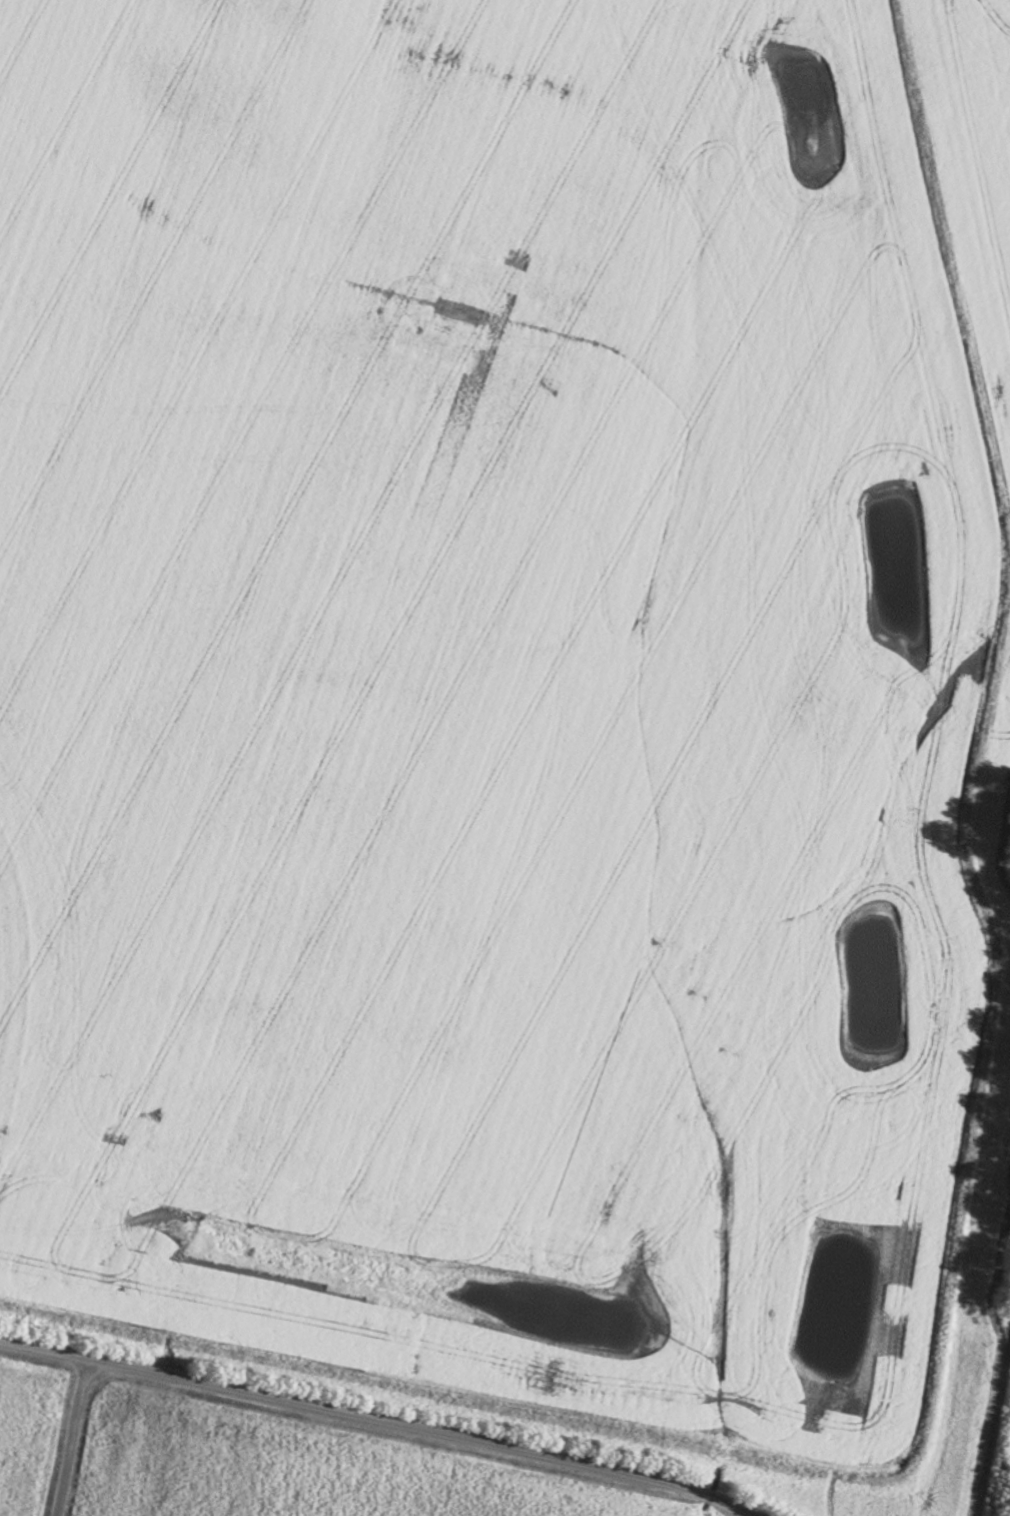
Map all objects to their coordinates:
road: (376, 1421)

